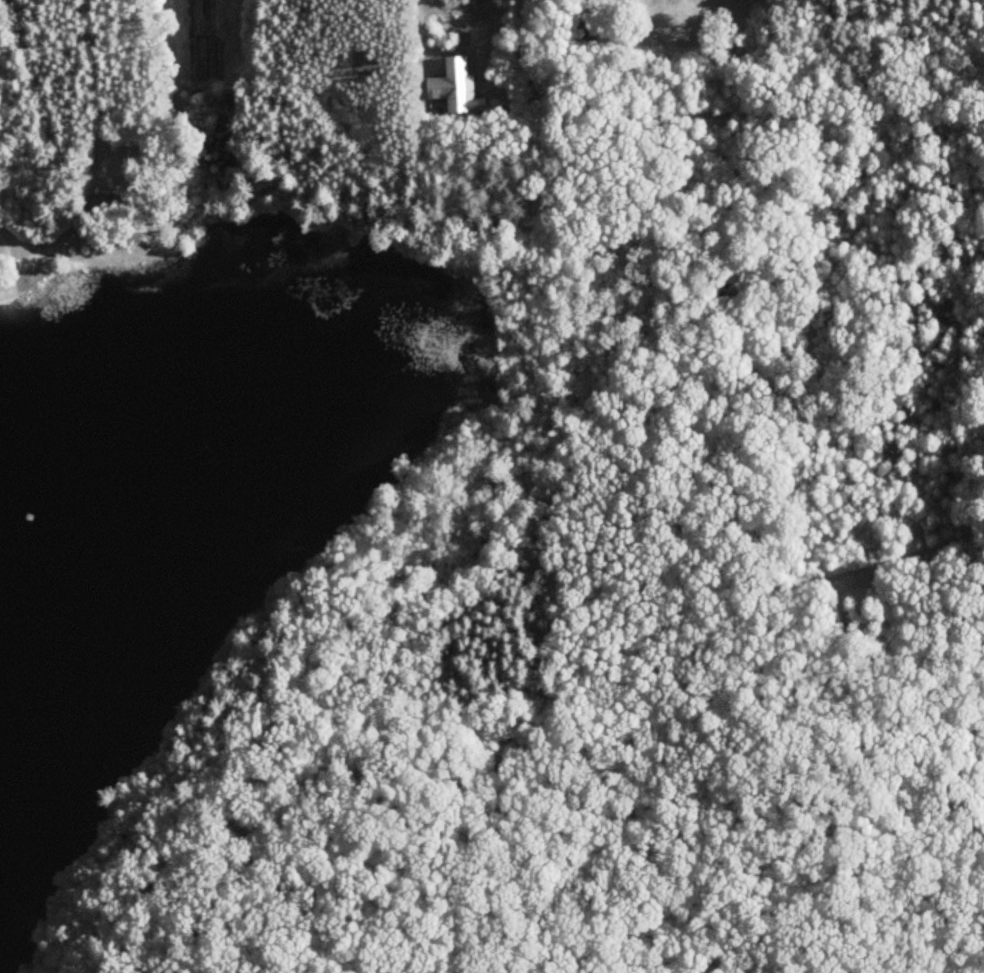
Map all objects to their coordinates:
building: (589, 32)
road: (415, 37)
road: (161, 100)
road: (76, 137)
building: (109, 204)

